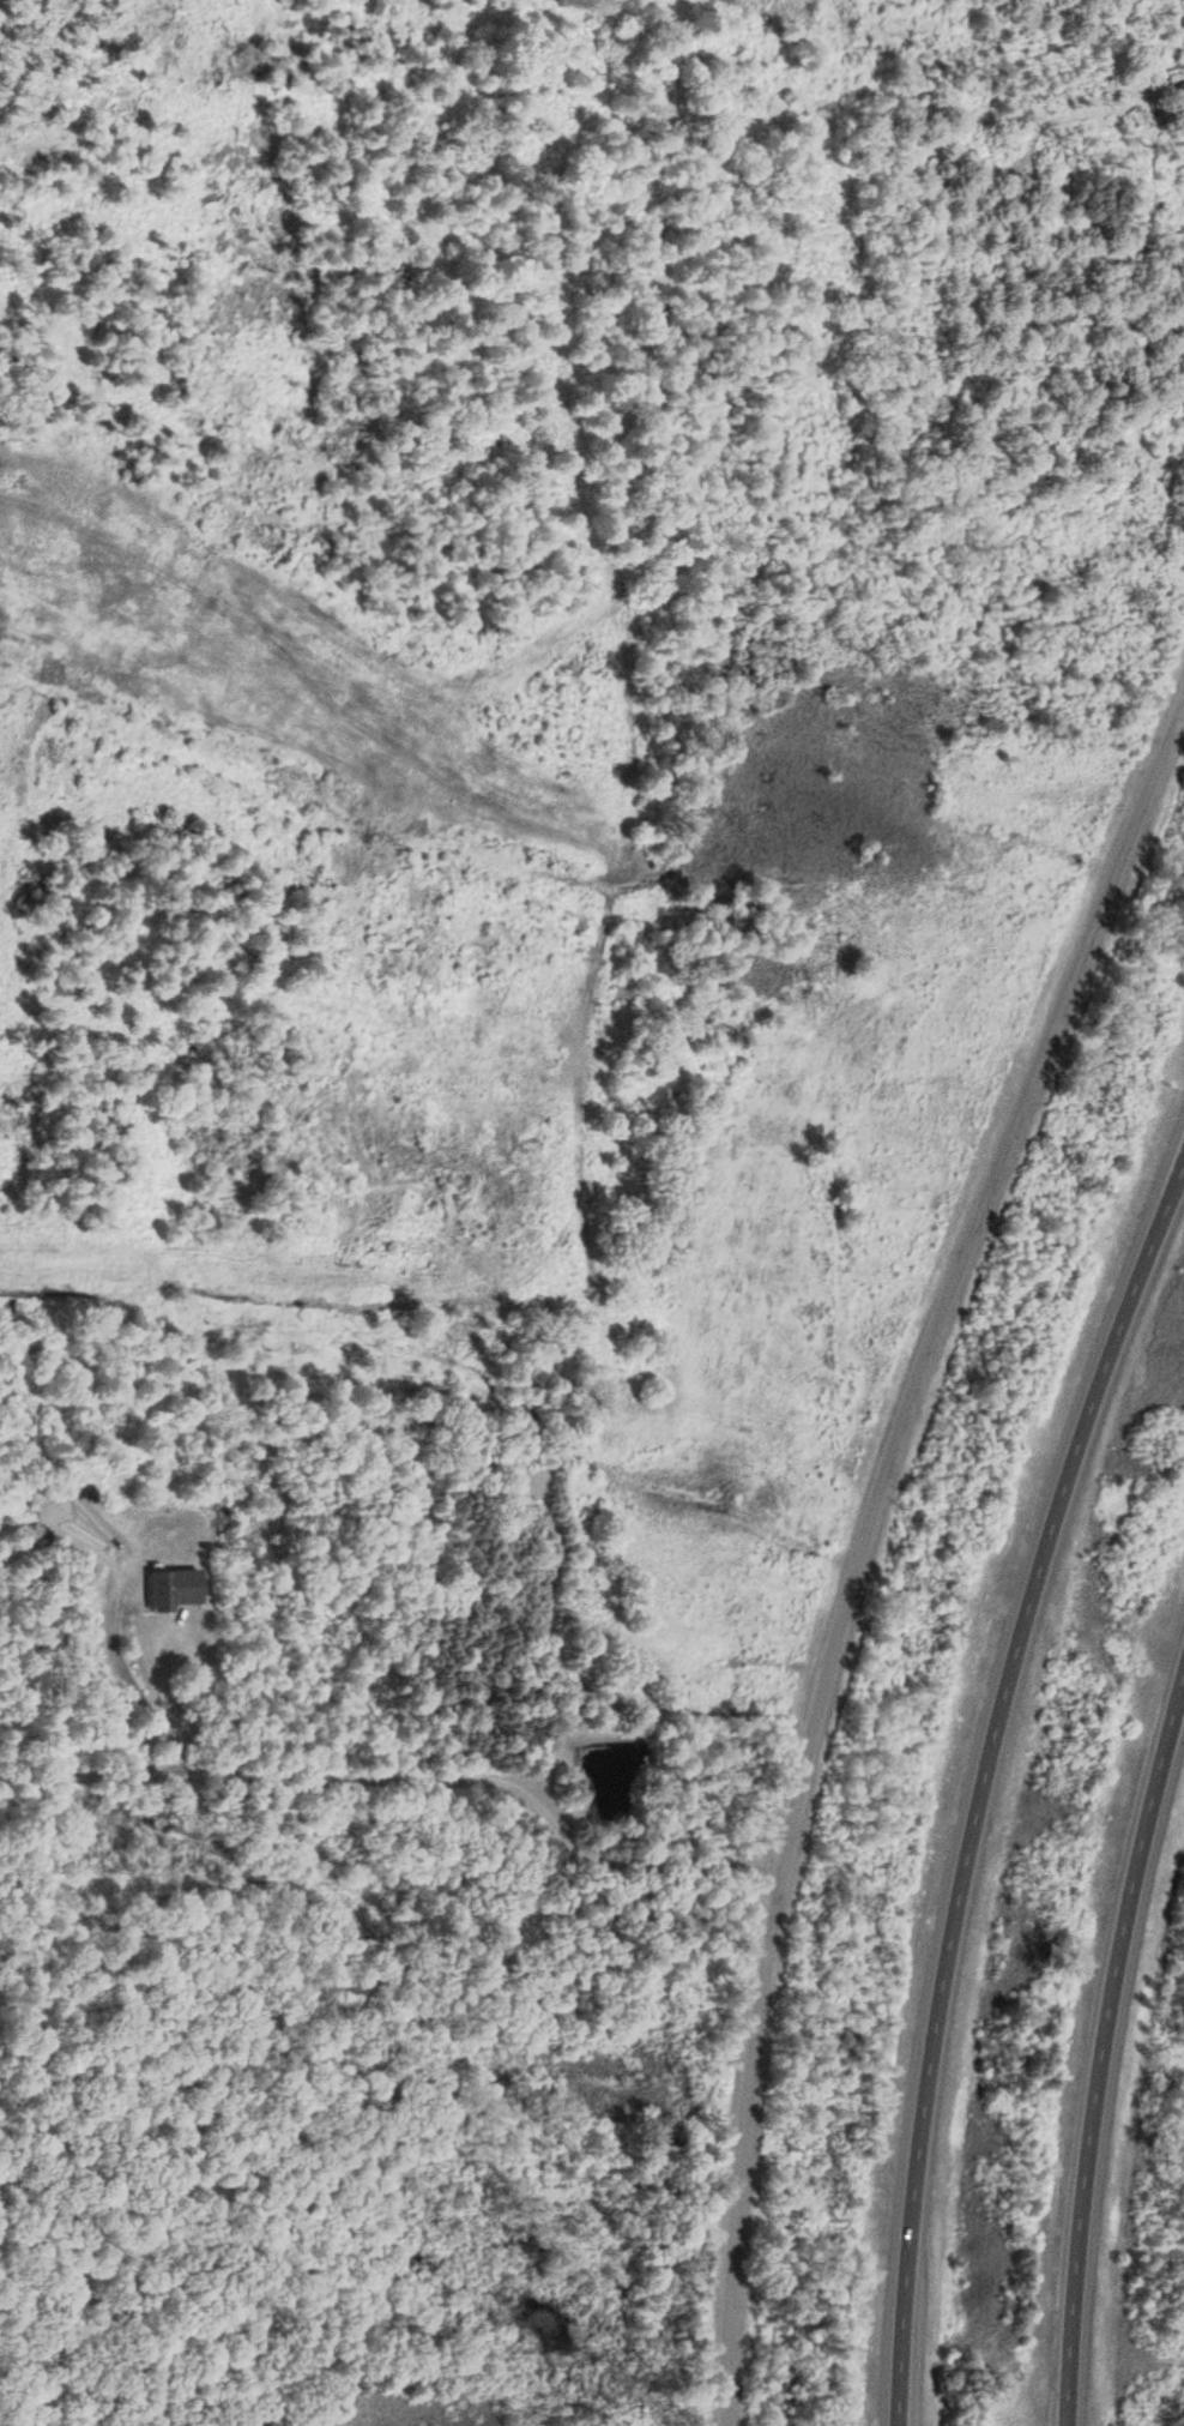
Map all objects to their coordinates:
road: (847, 1519)
building: (168, 1590)
road: (961, 1777)
road: (376, 1916)
road: (1104, 2045)

